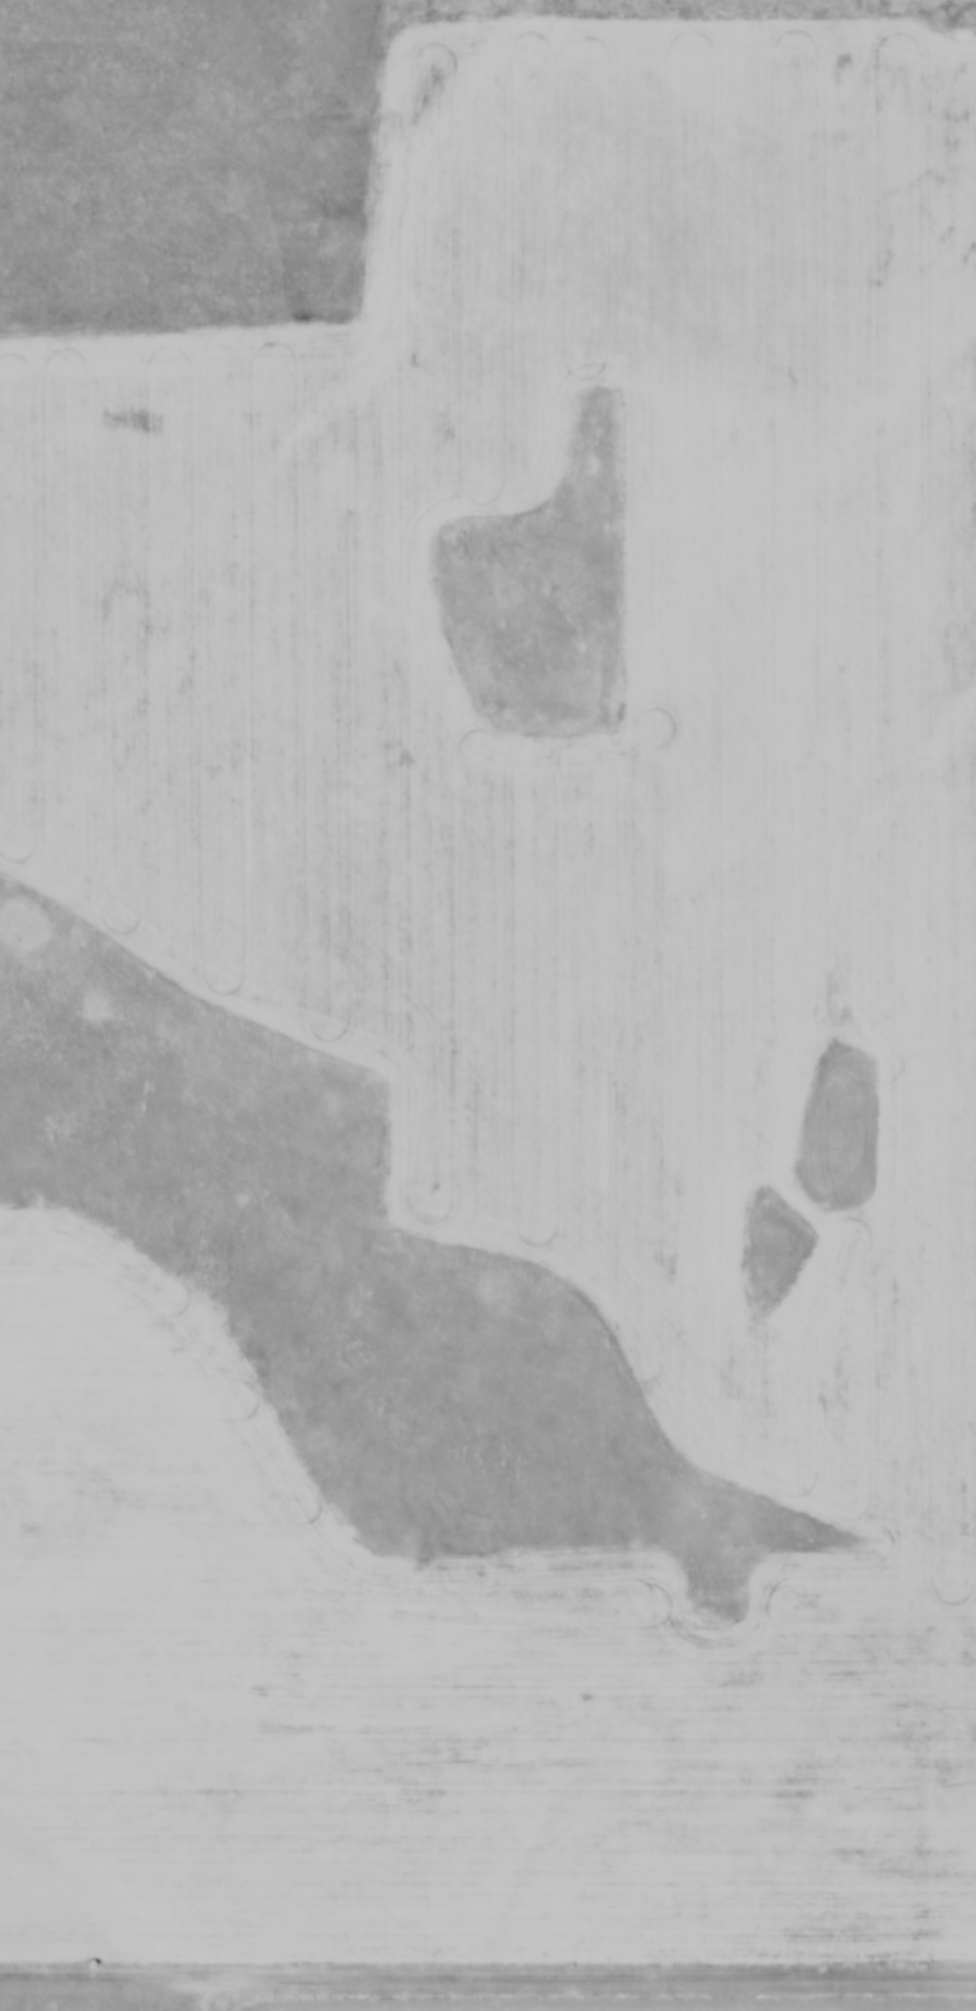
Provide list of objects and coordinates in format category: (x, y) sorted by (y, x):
road: (487, 1971)

